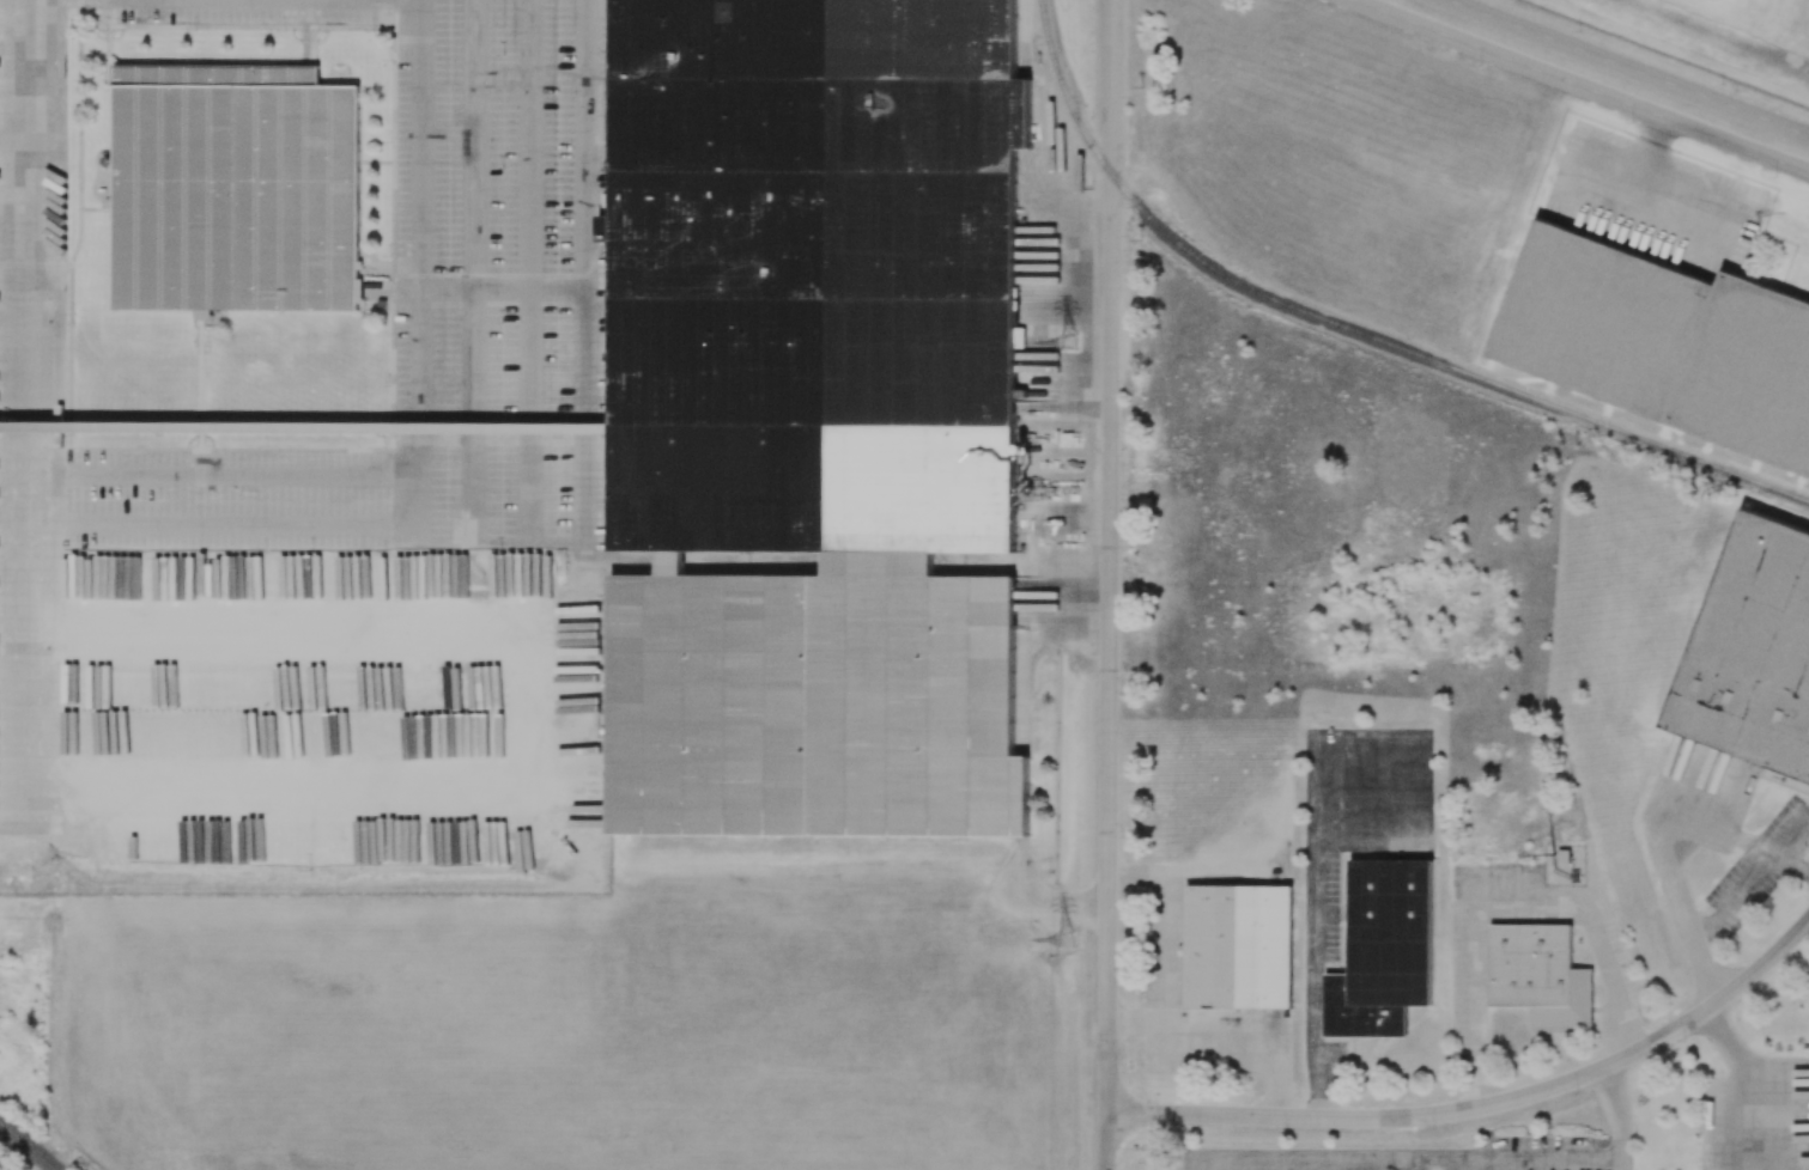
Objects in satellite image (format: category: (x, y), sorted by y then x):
street lamp: (1329, 7)
street lamp: (1579, 31)
road: (1026, 57)
street lamp: (1480, 65)
road: (1627, 68)
street lamp: (1722, 84)
road: (1579, 86)
street lamp: (1129, 110)
street lamp: (1633, 122)
road: (528, 145)
street lamp: (1777, 176)
building: (233, 188)
road: (584, 231)
street lamp: (1127, 249)
parking lot: (413, 298)
road: (473, 300)
road: (38, 316)
railway: (1355, 330)
power tower: (1070, 341)
building: (1664, 343)
street lamp: (1124, 397)
building: (814, 413)
building: (302, 427)
road: (305, 428)
road: (414, 453)
road: (225, 473)
road: (557, 540)
street lamp: (1125, 560)
road: (1106, 584)
building: (1752, 651)
street lamp: (1122, 693)
road: (523, 778)
building: (1789, 784)
street lamp: (1121, 837)
road: (1662, 860)
road: (1179, 869)
road: (1725, 904)
road: (1504, 907)
road: (1312, 922)
power tower: (1067, 937)
building: (1238, 945)
road: (1164, 946)
building: (1384, 950)
building: (1538, 973)
street lamp: (1121, 980)
road: (1222, 1025)
road: (1754, 1078)
road: (1615, 1098)
road: (1485, 1105)
street lamp: (1285, 1131)
street lamp: (1141, 1133)
railway: (26, 1146)
road: (1619, 1151)
parking lot: (1429, 1157)
road: (1407, 1159)
road: (1402, 1164)

